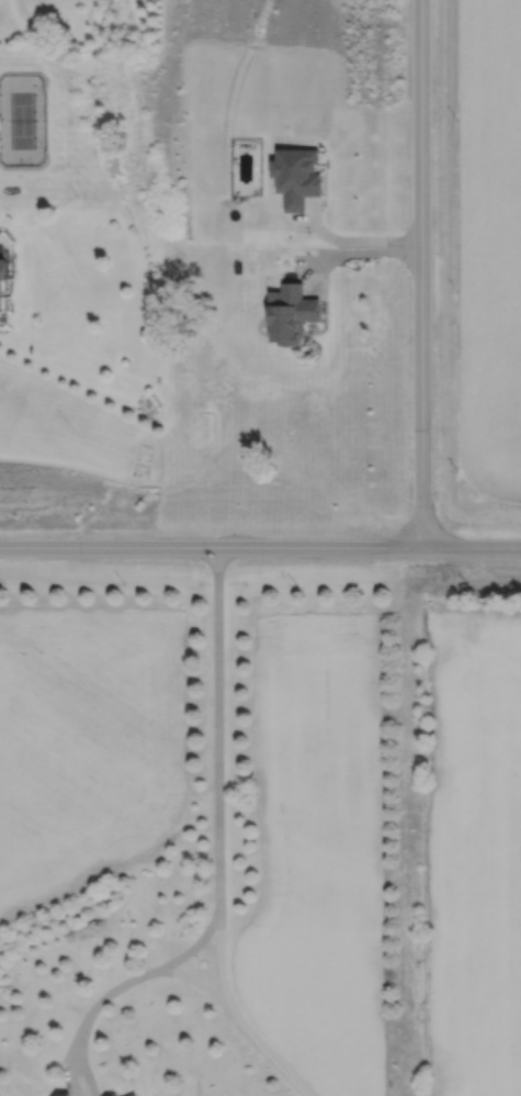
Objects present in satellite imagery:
road: (362, 239)
crop: (488, 249)
building: (4, 270)
road: (429, 273)
building: (293, 313)
road: (260, 547)
road: (216, 730)
crop: (476, 846)
road: (185, 975)
road: (115, 980)
road: (230, 1018)
building: (132, 1094)
building: (68, 1095)

